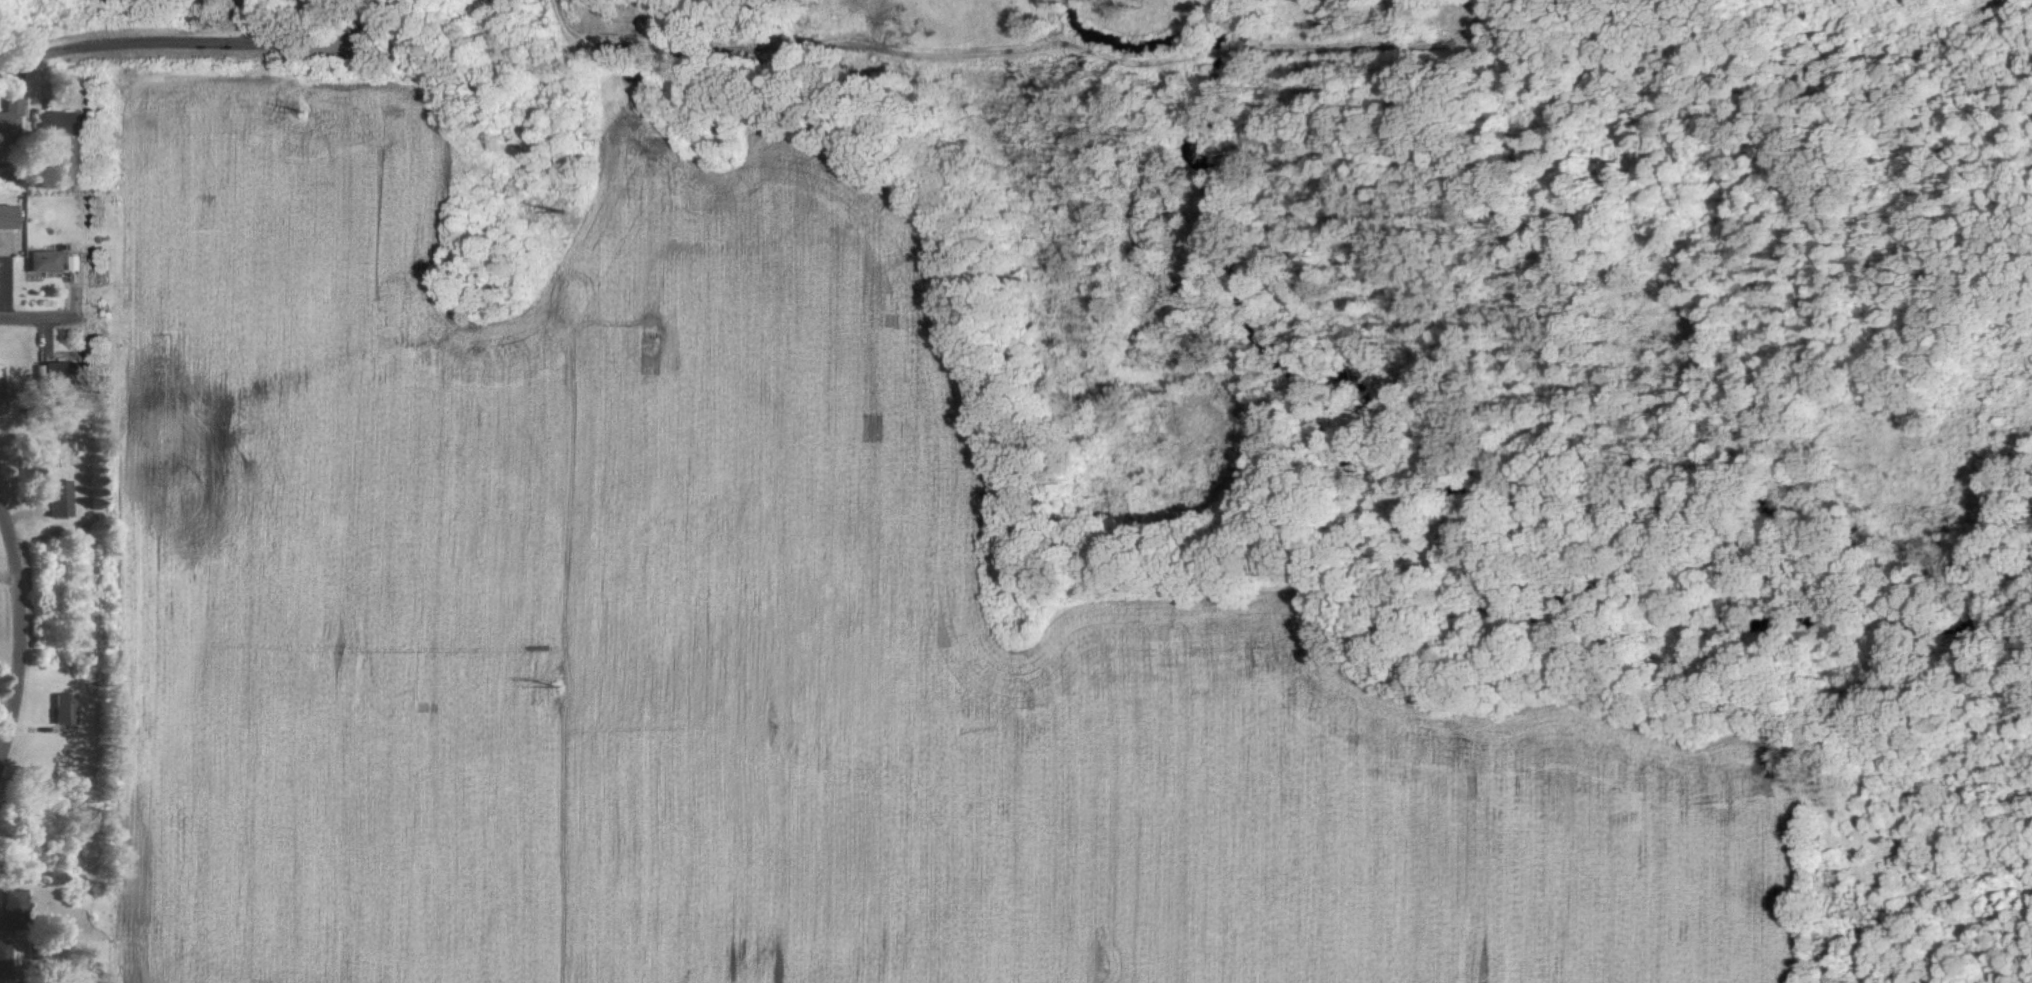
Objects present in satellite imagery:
road: (194, 51)
power tower: (309, 116)
building: (10, 118)
building: (59, 123)
power tower: (575, 215)
building: (8, 216)
building: (48, 261)
road: (46, 321)
building: (66, 373)
building: (60, 498)
road: (22, 637)
power tower: (560, 687)
building: (64, 709)
building: (15, 905)
building: (5, 959)

